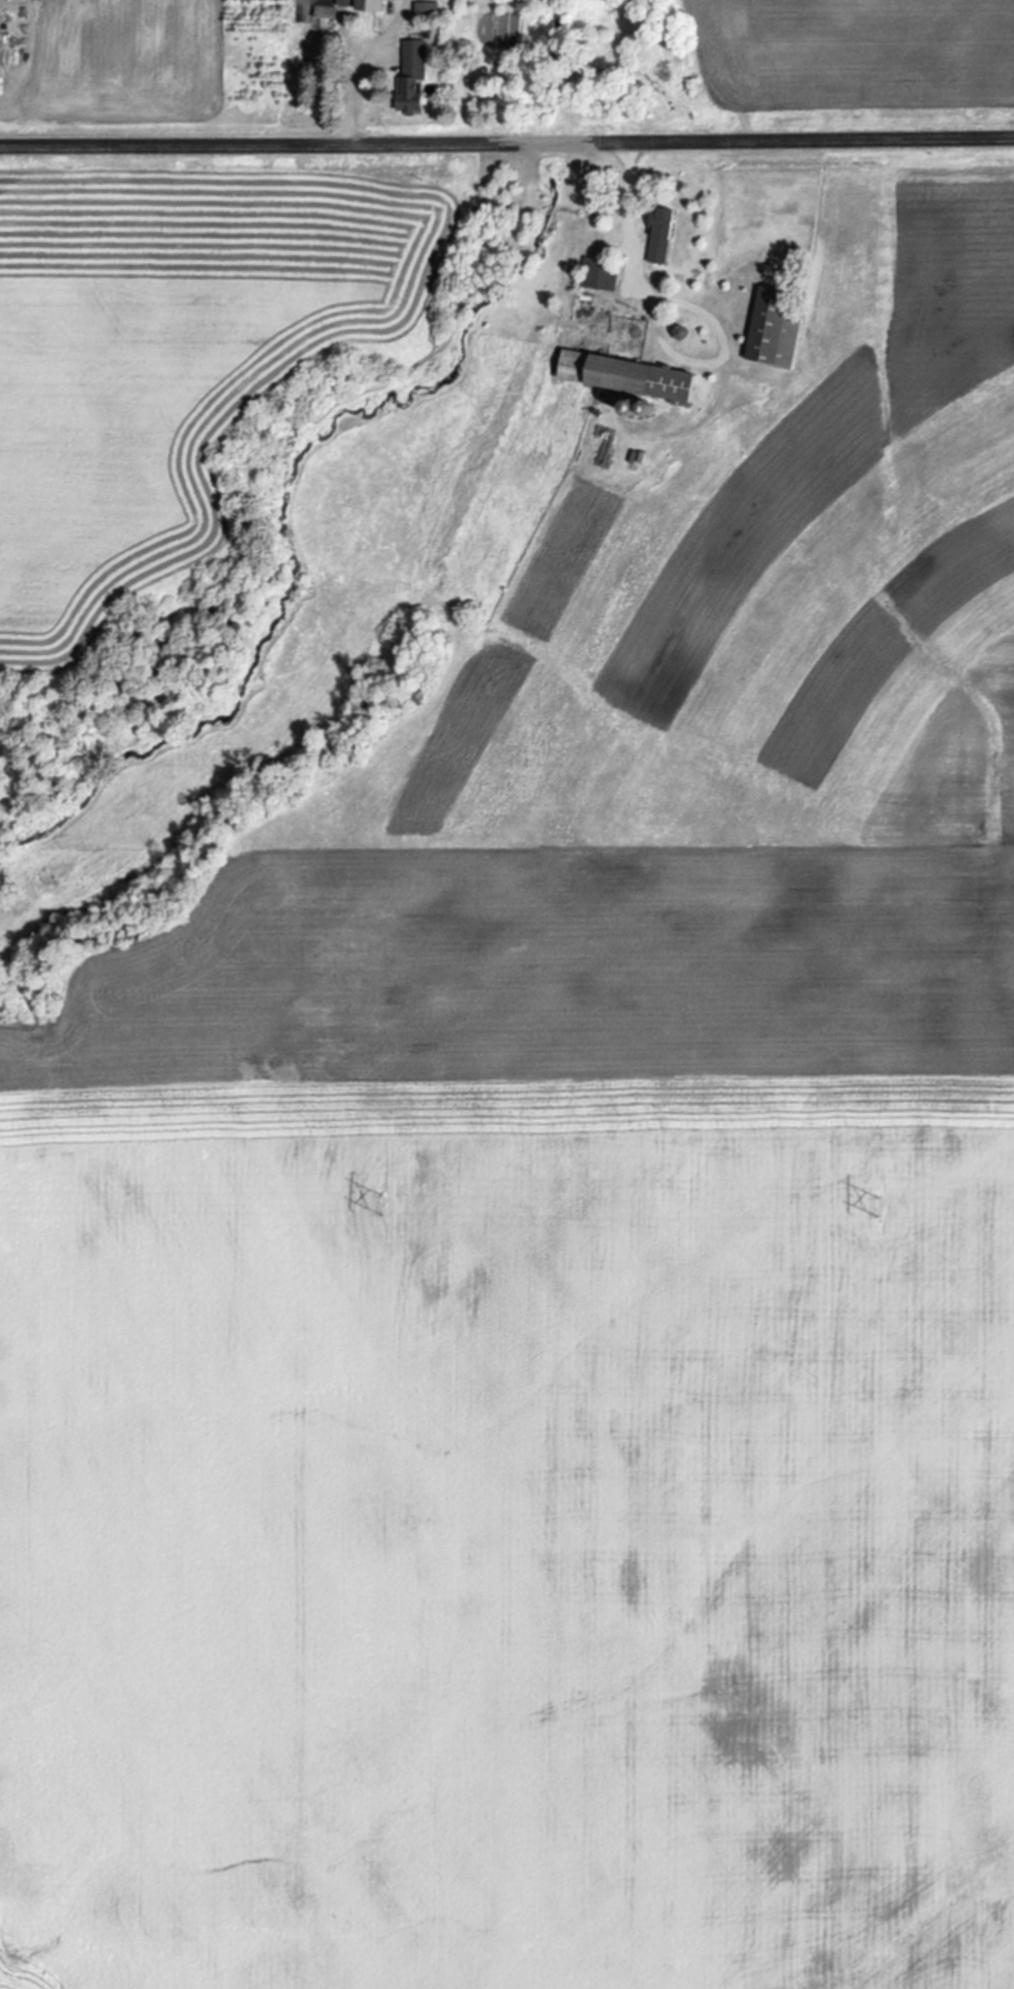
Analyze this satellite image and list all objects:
building: (357, 5)
building: (423, 8)
building: (323, 12)
road: (367, 68)
building: (407, 76)
road: (507, 142)
road: (629, 215)
building: (658, 236)
building: (598, 275)
building: (769, 331)
building: (623, 377)
power tower: (383, 1203)
power tower: (882, 1209)

